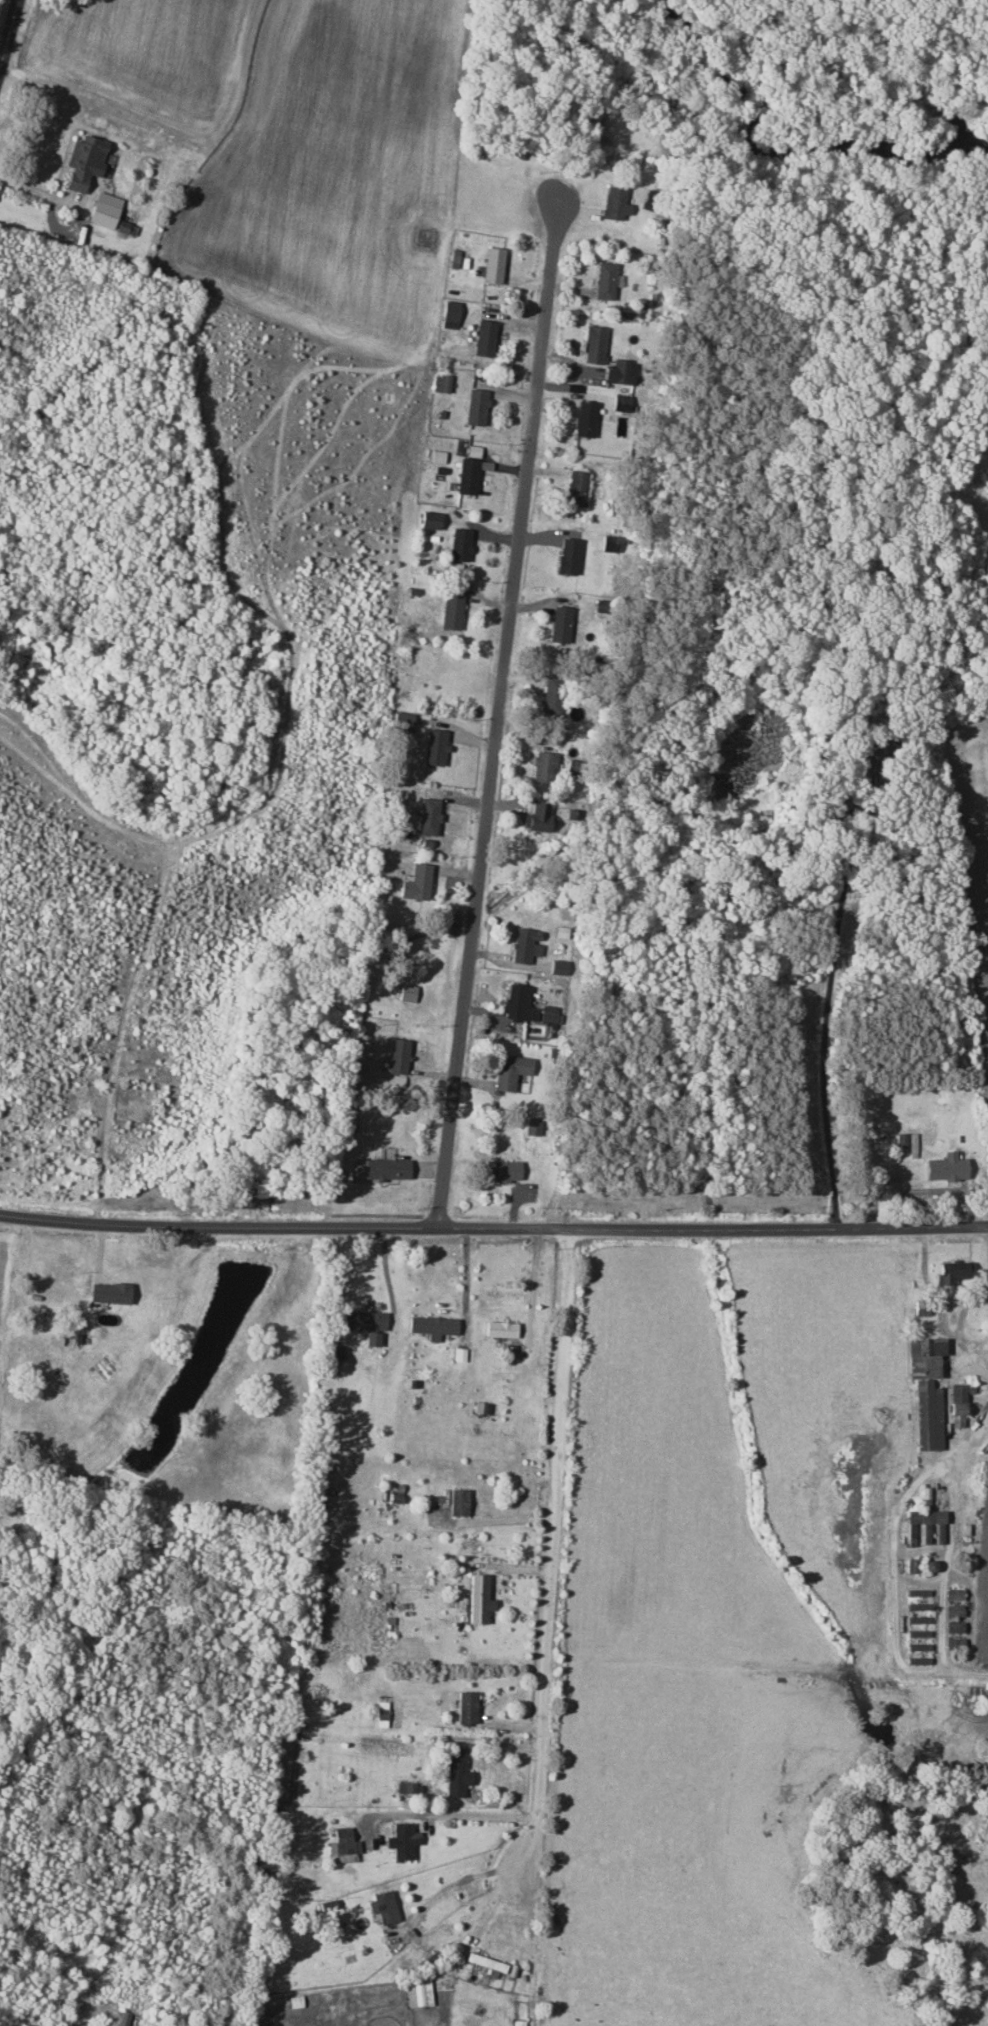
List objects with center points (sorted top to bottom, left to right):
road: (10, 39)
building: (82, 160)
road: (41, 193)
building: (614, 202)
building: (103, 209)
building: (491, 265)
building: (604, 280)
building: (483, 337)
building: (592, 343)
building: (620, 372)
building: (440, 382)
building: (620, 402)
building: (474, 406)
building: (584, 419)
building: (466, 476)
building: (575, 487)
building: (429, 520)
building: (608, 543)
building: (459, 544)
building: (567, 555)
building: (450, 611)
building: (559, 624)
building: (550, 695)
road: (503, 716)
building: (433, 747)
building: (873, 755)
building: (542, 766)
building: (427, 816)
building: (536, 816)
building: (415, 883)
building: (524, 945)
building: (557, 967)
building: (406, 993)
building: (518, 1004)
building: (547, 1017)
road: (830, 1038)
building: (397, 1062)
building: (509, 1071)
park: (134, 1103)
building: (532, 1127)
building: (944, 1168)
building: (379, 1169)
building: (501, 1171)
road: (493, 1226)
road: (385, 1272)
building: (950, 1273)
road: (466, 1276)
building: (108, 1291)
building: (361, 1319)
building: (431, 1325)
building: (499, 1328)
building: (925, 1389)
building: (956, 1404)
building: (457, 1501)
building: (923, 1527)
road: (906, 1539)
road: (553, 1548)
building: (953, 1593)
building: (478, 1598)
building: (918, 1606)
building: (954, 1610)
building: (918, 1619)
building: (953, 1627)
building: (918, 1633)
building: (954, 1642)
building: (918, 1646)
road: (946, 1670)
building: (466, 1706)
building: (456, 1772)
road: (472, 1817)
building: (401, 1840)
building: (342, 1841)
road: (453, 1881)
building: (382, 1907)
road: (495, 1909)
building: (485, 1962)
building: (417, 1992)
building: (518, 2023)

